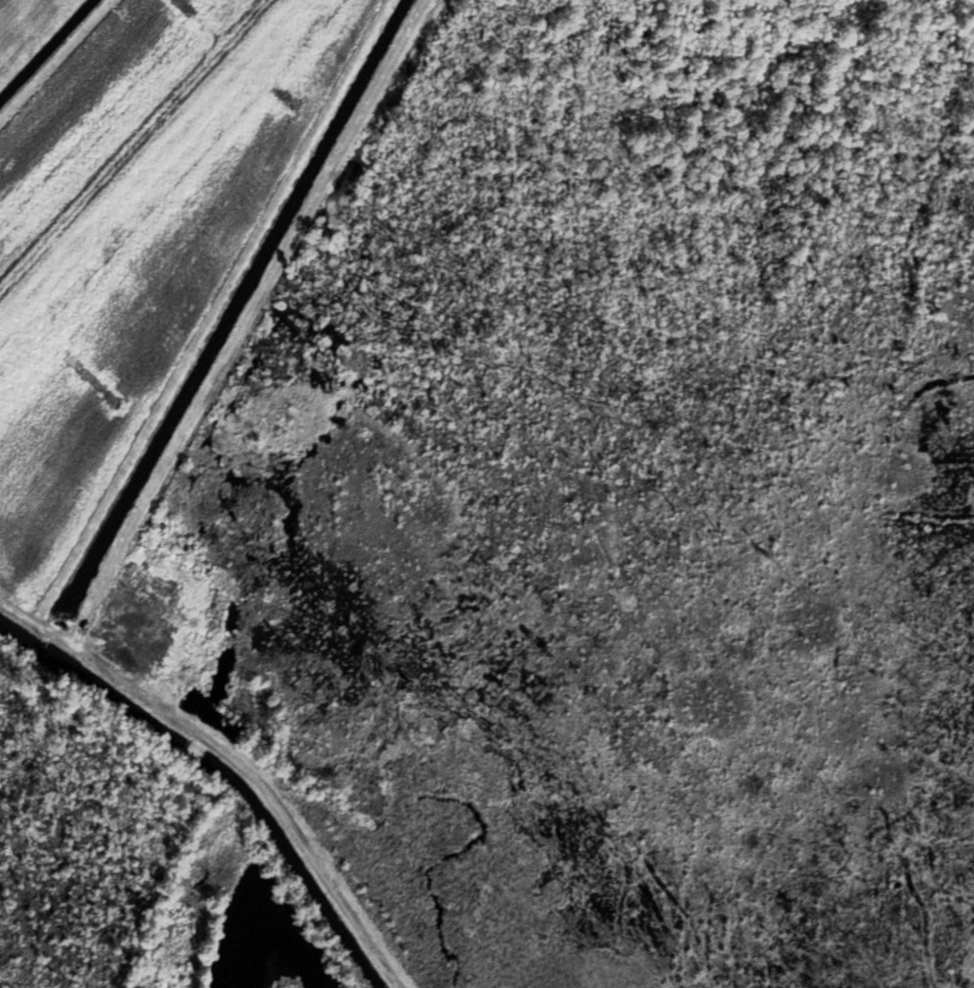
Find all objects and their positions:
road: (89, 945)

